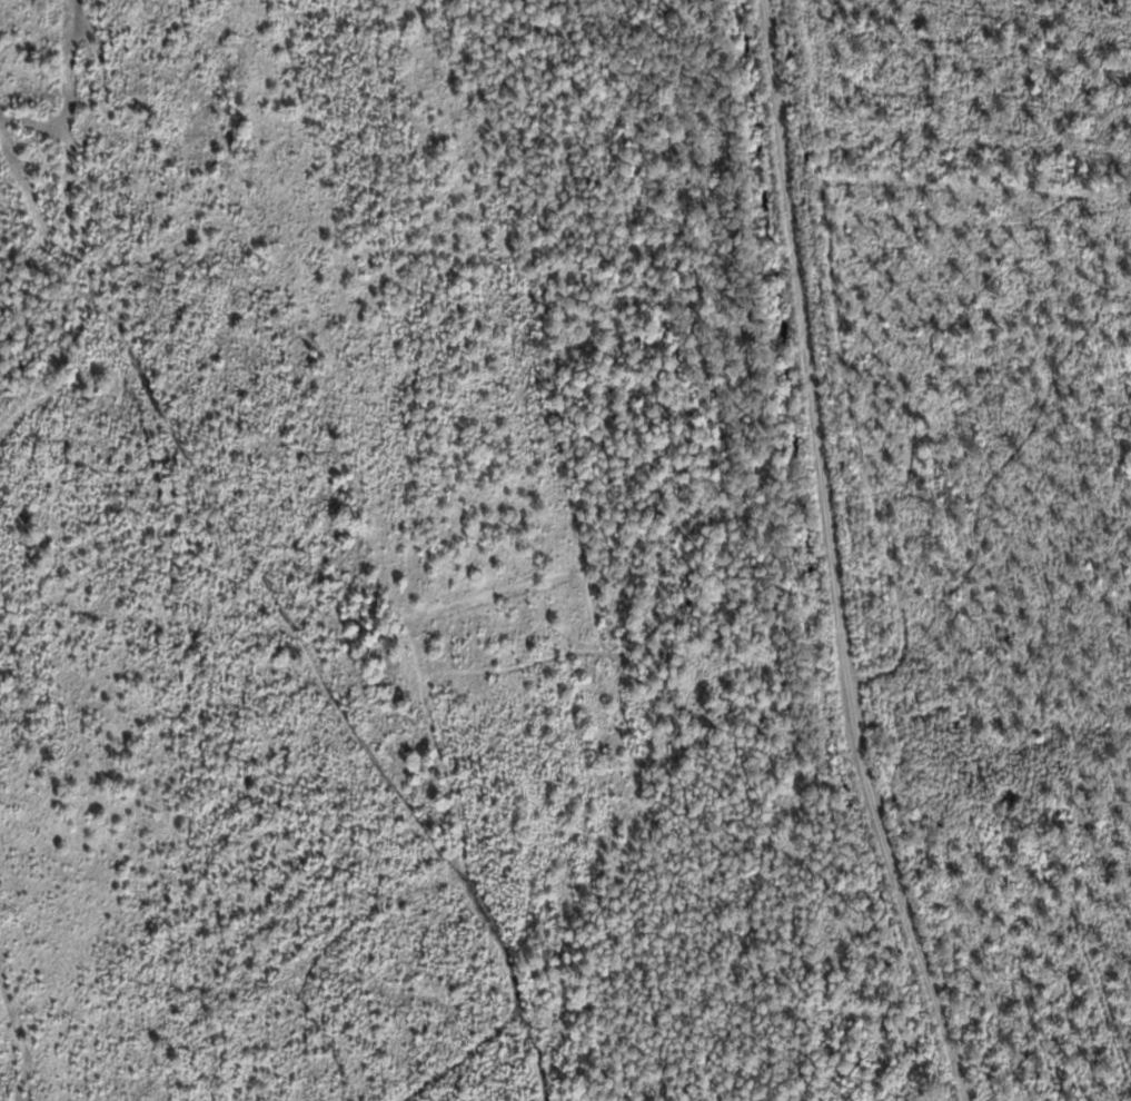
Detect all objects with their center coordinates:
road: (873, 552)

